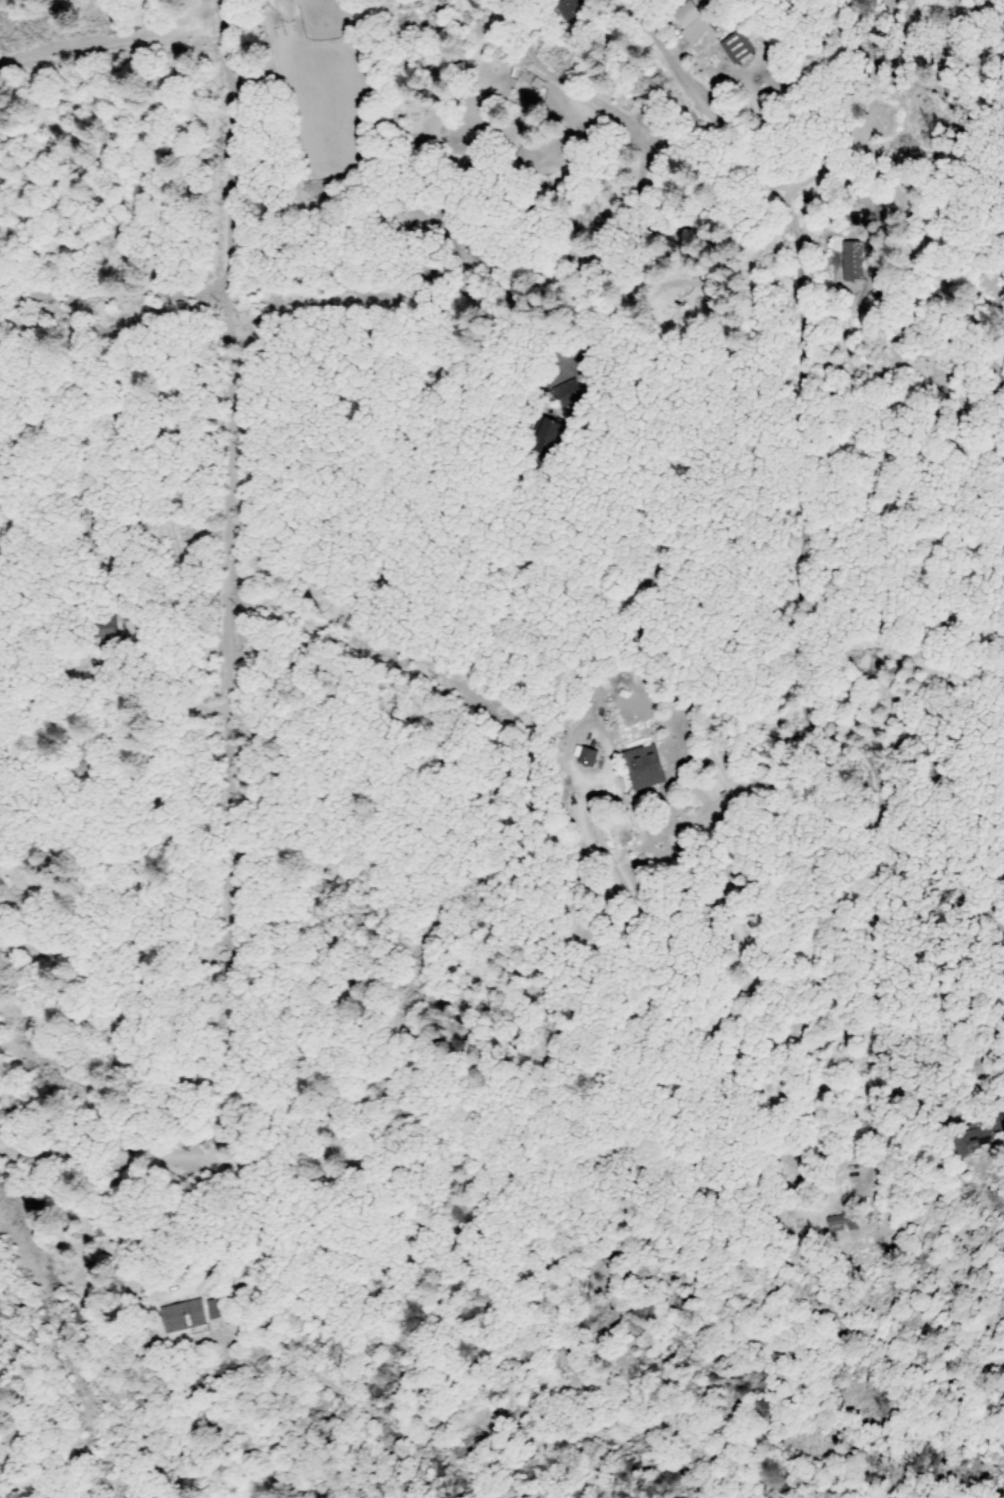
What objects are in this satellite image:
building: (567, 7)
road: (491, 8)
building: (685, 14)
building: (696, 31)
building: (736, 47)
building: (514, 72)
building: (850, 260)
road: (111, 294)
road: (594, 321)
road: (813, 322)
building: (1002, 370)
building: (566, 392)
building: (546, 428)
road: (222, 635)
building: (588, 756)
building: (644, 767)
road: (74, 1103)
building: (977, 1136)
building: (833, 1220)
building: (182, 1313)

